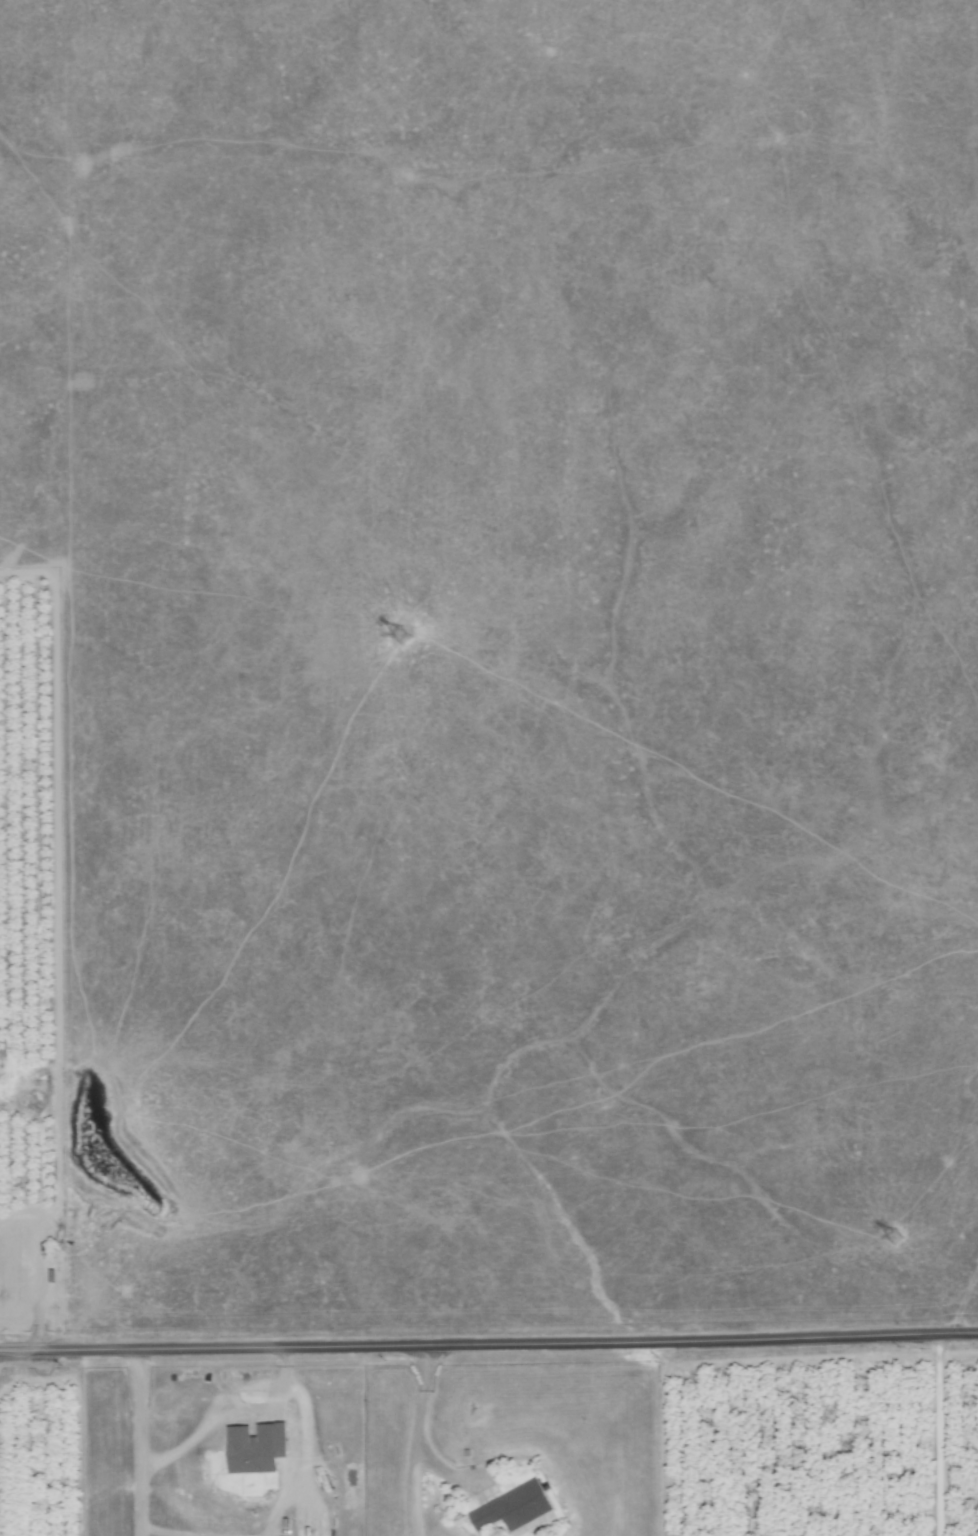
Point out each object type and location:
power tower: (406, 634)
power tower: (901, 1237)
road: (489, 1346)
road: (215, 1408)
road: (408, 1441)
road: (136, 1442)
building: (252, 1450)
road: (306, 1451)
road: (280, 1502)
building: (510, 1510)
road: (174, 1532)

